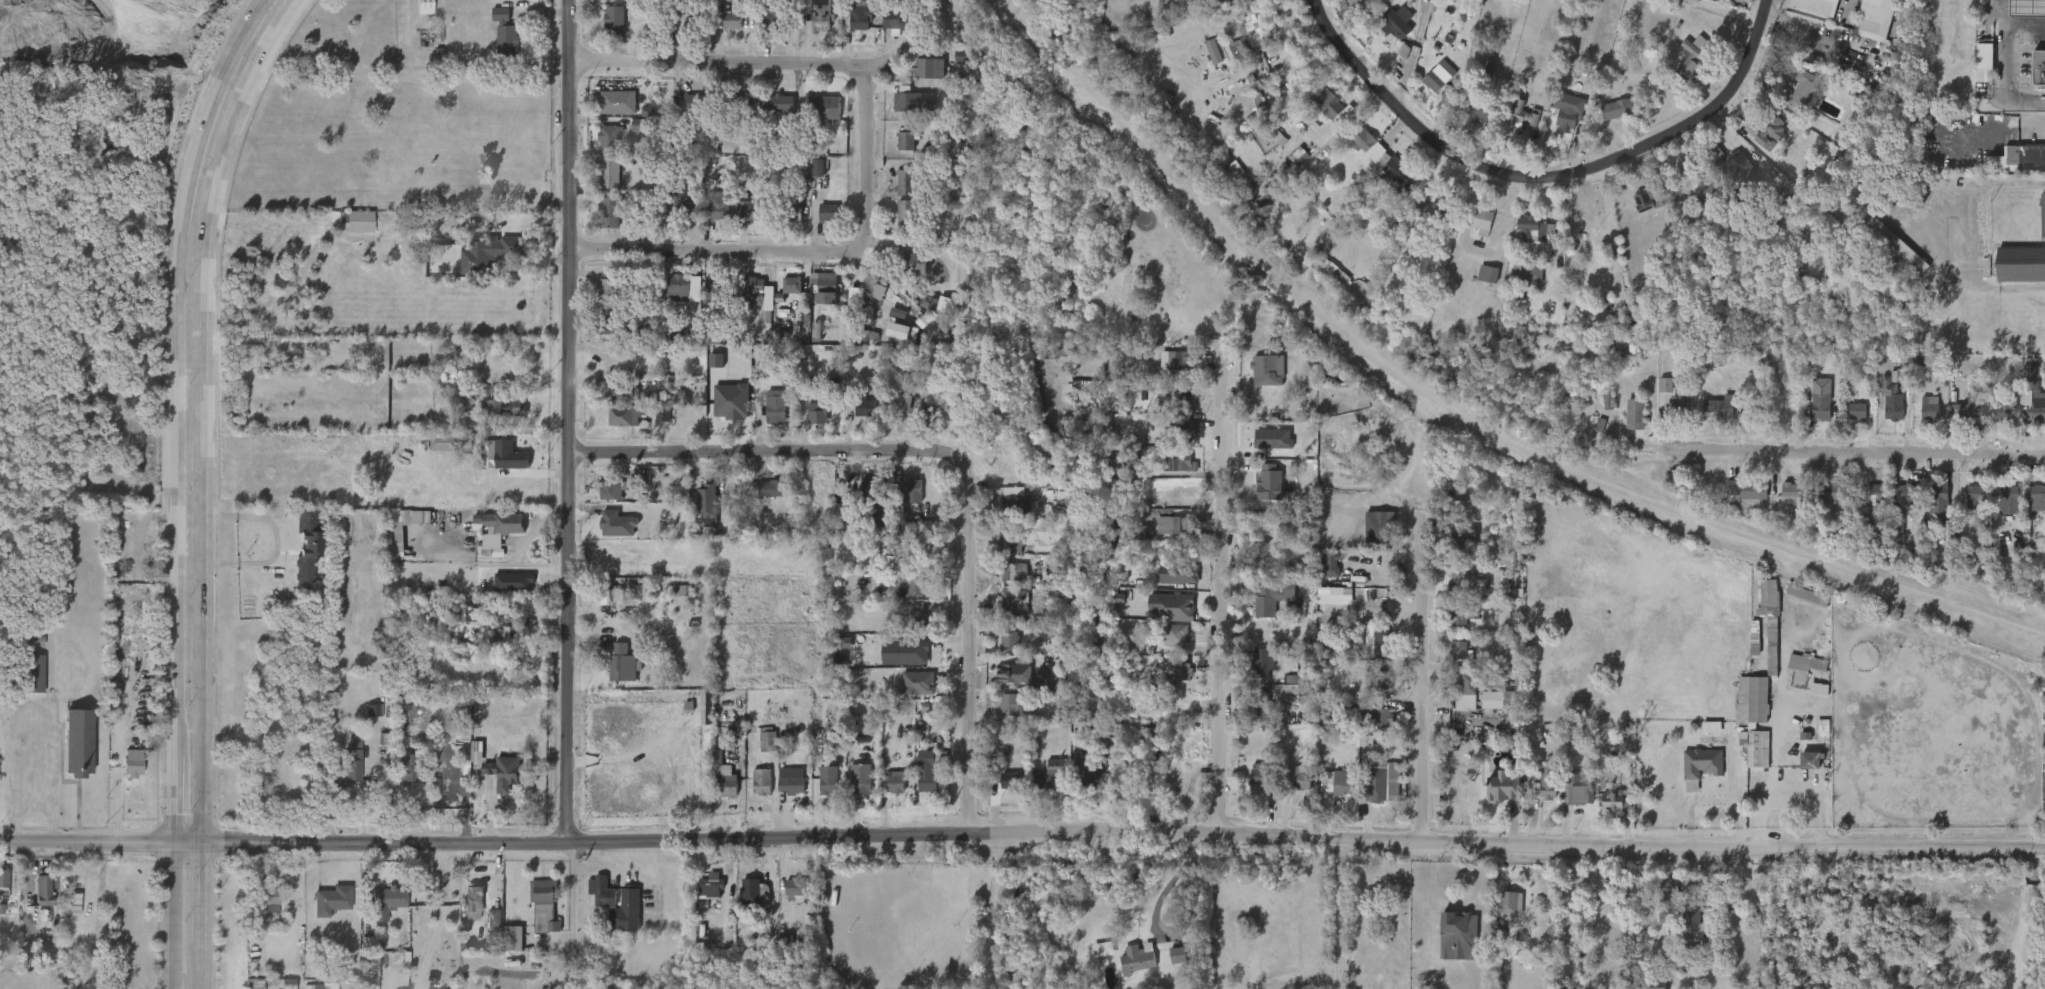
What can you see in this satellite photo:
building: (1223, 1)
building: (1362, 2)
building: (609, 4)
building: (717, 5)
building: (1813, 6)
building: (425, 7)
building: (1348, 8)
building: (1874, 8)
building: (2025, 8)
gas station: (2025, 8)
building: (415, 11)
building: (819, 14)
building: (771, 15)
building: (856, 16)
building: (904, 19)
building: (614, 20)
road: (2011, 24)
building: (811, 25)
building: (1395, 25)
building: (759, 27)
building: (848, 28)
building: (605, 29)
building: (673, 29)
building: (722, 30)
building: (883, 32)
building: (1253, 32)
building: (505, 41)
building: (1241, 46)
building: (1693, 57)
building: (1982, 60)
building: (1203, 61)
road: (740, 66)
building: (2039, 66)
building: (1681, 67)
building: (926, 69)
building: (1441, 75)
building: (919, 78)
road: (2002, 79)
building: (1804, 91)
building: (1450, 94)
building: (608, 95)
building: (1793, 99)
building: (910, 100)
building: (1331, 103)
building: (735, 104)
building: (693, 105)
building: (774, 105)
building: (824, 106)
building: (1618, 109)
building: (1472, 110)
building: (904, 111)
building: (608, 112)
building: (681, 112)
building: (768, 113)
building: (1524, 113)
building: (1321, 114)
building: (817, 117)
building: (1567, 117)
building: (1607, 118)
building: (638, 120)
building: (1471, 122)
building: (1512, 123)
building: (1767, 132)
building: (631, 134)
building: (606, 137)
building: (908, 140)
building: (1761, 142)
building: (1369, 143)
building: (598, 147)
building: (1714, 149)
building: (896, 150)
building: (1357, 154)
building: (2025, 155)
building: (717, 162)
building: (610, 172)
building: (1746, 173)
building: (710, 176)
building: (1399, 176)
road: (1549, 177)
building: (808, 179)
building: (1732, 180)
building: (1387, 181)
building: (600, 183)
building: (904, 183)
building: (1296, 187)
building: (895, 191)
building: (1711, 195)
building: (1650, 198)
building: (681, 201)
building: (1699, 205)
building: (713, 207)
building: (1433, 208)
building: (1636, 209)
building: (751, 210)
building: (609, 212)
building: (907, 214)
building: (2041, 214)
road: (267, 217)
building: (1426, 217)
building: (1482, 221)
building: (600, 222)
building: (786, 222)
building: (895, 222)
building: (706, 223)
building: (818, 223)
building: (1536, 228)
building: (348, 230)
building: (1472, 231)
building: (1522, 239)
building: (1889, 245)
building: (497, 249)
road: (818, 250)
building: (448, 252)
building: (1884, 256)
building: (485, 259)
building: (439, 262)
building: (2021, 265)
building: (894, 269)
building: (1334, 272)
building: (909, 273)
building: (1529, 276)
building: (1325, 283)
building: (1478, 283)
building: (610, 285)
building: (1518, 286)
building: (678, 287)
building: (828, 288)
building: (714, 289)
building: (752, 292)
building: (600, 293)
building: (782, 294)
building: (815, 296)
building: (669, 297)
building: (1092, 351)
building: (1180, 362)
building: (1112, 365)
building: (1269, 368)
building: (706, 370)
building: (1162, 370)
building: (1897, 374)
building: (1054, 376)
building: (2028, 379)
building: (1258, 380)
building: (621, 392)
building: (460, 398)
building: (1674, 399)
building: (1820, 401)
building: (616, 402)
building: (1173, 405)
building: (1891, 405)
building: (500, 407)
building: (862, 407)
building: (1660, 407)
building: (1723, 407)
building: (2037, 407)
building: (2001, 408)
road: (208, 409)
building: (919, 409)
building: (1881, 409)
building: (1969, 409)
building: (777, 410)
road: (177, 411)
building: (722, 411)
building: (1810, 413)
building: (901, 414)
building: (1637, 414)
building: (627, 416)
building: (498, 417)
building: (766, 417)
building: (854, 417)
building: (1708, 417)
building: (1957, 417)
building: (1919, 418)
building: (1847, 421)
building: (808, 422)
building: (1625, 423)
building: (653, 425)
building: (615, 426)
building: (1179, 429)
building: (1172, 437)
building: (435, 453)
building: (510, 455)
road: (754, 455)
road: (1856, 457)
building: (1109, 460)
building: (1178, 464)
building: (497, 465)
building: (1170, 472)
building: (769, 488)
building: (611, 490)
building: (912, 490)
building: (1746, 490)
building: (1829, 493)
building: (1900, 493)
road: (573, 494)
building: (871, 494)
building: (1786, 494)
building: (1870, 494)
building: (1972, 496)
building: (757, 498)
building: (2033, 498)
building: (600, 500)
building: (705, 500)
building: (902, 500)
building: (1736, 500)
building: (1014, 501)
building: (1863, 503)
building: (1895, 503)
building: (1940, 503)
building: (1779, 504)
building: (2005, 504)
building: (1964, 505)
building: (1928, 509)
building: (1006, 510)
building: (697, 514)
building: (848, 516)
building: (503, 523)
building: (1175, 525)
building: (393, 526)
building: (411, 526)
building: (1382, 528)
building: (1162, 536)
building: (1368, 536)
building: (1463, 538)
building: (487, 539)
road: (276, 540)
building: (1009, 540)
building: (310, 544)
building: (386, 547)
building: (1451, 547)
building: (1263, 550)
building: (1001, 553)
building: (298, 554)
building: (608, 559)
building: (1253, 559)
building: (1332, 565)
building: (1012, 572)
building: (1179, 572)
building: (1319, 574)
building: (1459, 580)
building: (1004, 581)
building: (914, 583)
building: (1169, 583)
building: (1448, 589)
building: (504, 590)
building: (906, 594)
building: (1272, 594)
building: (1804, 594)
building: (605, 595)
building: (1012, 601)
building: (1795, 605)
building: (1262, 606)
building: (599, 607)
building: (1175, 607)
road: (1221, 607)
building: (1004, 612)
building: (918, 614)
building: (1161, 616)
building: (1462, 616)
building: (906, 621)
building: (1768, 622)
building: (1449, 628)
road: (973, 631)
building: (510, 634)
building: (1177, 635)
building: (1383, 637)
building: (1008, 640)
building: (500, 644)
building: (1166, 645)
building: (1372, 645)
building: (997, 649)
building: (24, 650)
building: (1336, 650)
building: (1462, 651)
building: (836, 652)
building: (1449, 659)
building: (901, 662)
building: (1262, 663)
building: (1804, 663)
building: (624, 664)
building: (612, 672)
building: (1181, 672)
building: (1253, 672)
building: (1798, 672)
building: (35, 673)
building: (1015, 674)
building: (1377, 678)
building: (1172, 681)
building: (916, 682)
building: (25, 683)
building: (1032, 685)
building: (1283, 688)
road: (1428, 688)
building: (1465, 690)
building: (908, 692)
building: (1495, 699)
building: (1750, 699)
building: (1457, 702)
building: (1014, 703)
building: (1263, 706)
building: (468, 709)
building: (1482, 709)
building: (700, 710)
building: (1005, 714)
building: (1376, 714)
building: (365, 719)
building: (693, 721)
building: (1367, 727)
building: (2043, 729)
building: (768, 742)
building: (78, 743)
building: (2040, 745)
building: (1755, 749)
road: (118, 750)
building: (758, 751)
building: (1745, 757)
building: (467, 760)
building: (1806, 761)
road: (32, 763)
building: (133, 763)
building: (1702, 763)
building: (352, 764)
building: (721, 764)
building: (931, 768)
building: (408, 769)
building: (1799, 769)
building: (496, 771)
building: (124, 772)
building: (1259, 775)
building: (1690, 775)
building: (1054, 776)
building: (1089, 776)
building: (340, 777)
building: (398, 777)
building: (859, 778)
building: (827, 779)
building: (1302, 779)
building: (917, 780)
building: (1006, 780)
building: (894, 781)
building: (762, 782)
building: (1046, 782)
building: (1337, 783)
building: (1547, 783)
building: (1250, 784)
building: (792, 785)
building: (728, 788)
building: (851, 788)
building: (819, 789)
building: (1027, 789)
building: (1579, 789)
building: (1291, 790)
building: (715, 791)
building: (752, 791)
building: (885, 791)
building: (1326, 792)
building: (1366, 793)
building: (999, 794)
building: (1537, 797)
building: (1493, 798)
building: (1570, 799)
building: (1618, 802)
road: (32, 807)
building: (1605, 810)
road: (1022, 832)
road: (1174, 879)
building: (710, 885)
building: (797, 887)
building: (43, 889)
building: (601, 891)
building: (753, 894)
building: (701, 896)
building: (387, 897)
building: (268, 898)
building: (471, 898)
building: (785, 898)
building: (35, 899)
building: (1671, 899)
building: (329, 900)
building: (592, 901)
building: (542, 905)
building: (1511, 906)
building: (380, 907)
road: (997, 909)
building: (626, 911)
building: (464, 912)
road: (440, 913)
road: (172, 914)
road: (200, 914)
building: (260, 914)
road: (1344, 914)
building: (1501, 914)
road: (90, 915)
building: (617, 922)
building: (1682, 923)
building: (484, 929)
building: (1458, 932)
building: (513, 937)
building: (503, 947)
building: (775, 949)
building: (1093, 958)
building: (1136, 958)
building: (1168, 964)
building: (370, 970)
building: (360, 977)
building: (1652, 982)
building: (255, 983)
building: (246, 988)
building: (279, 988)

